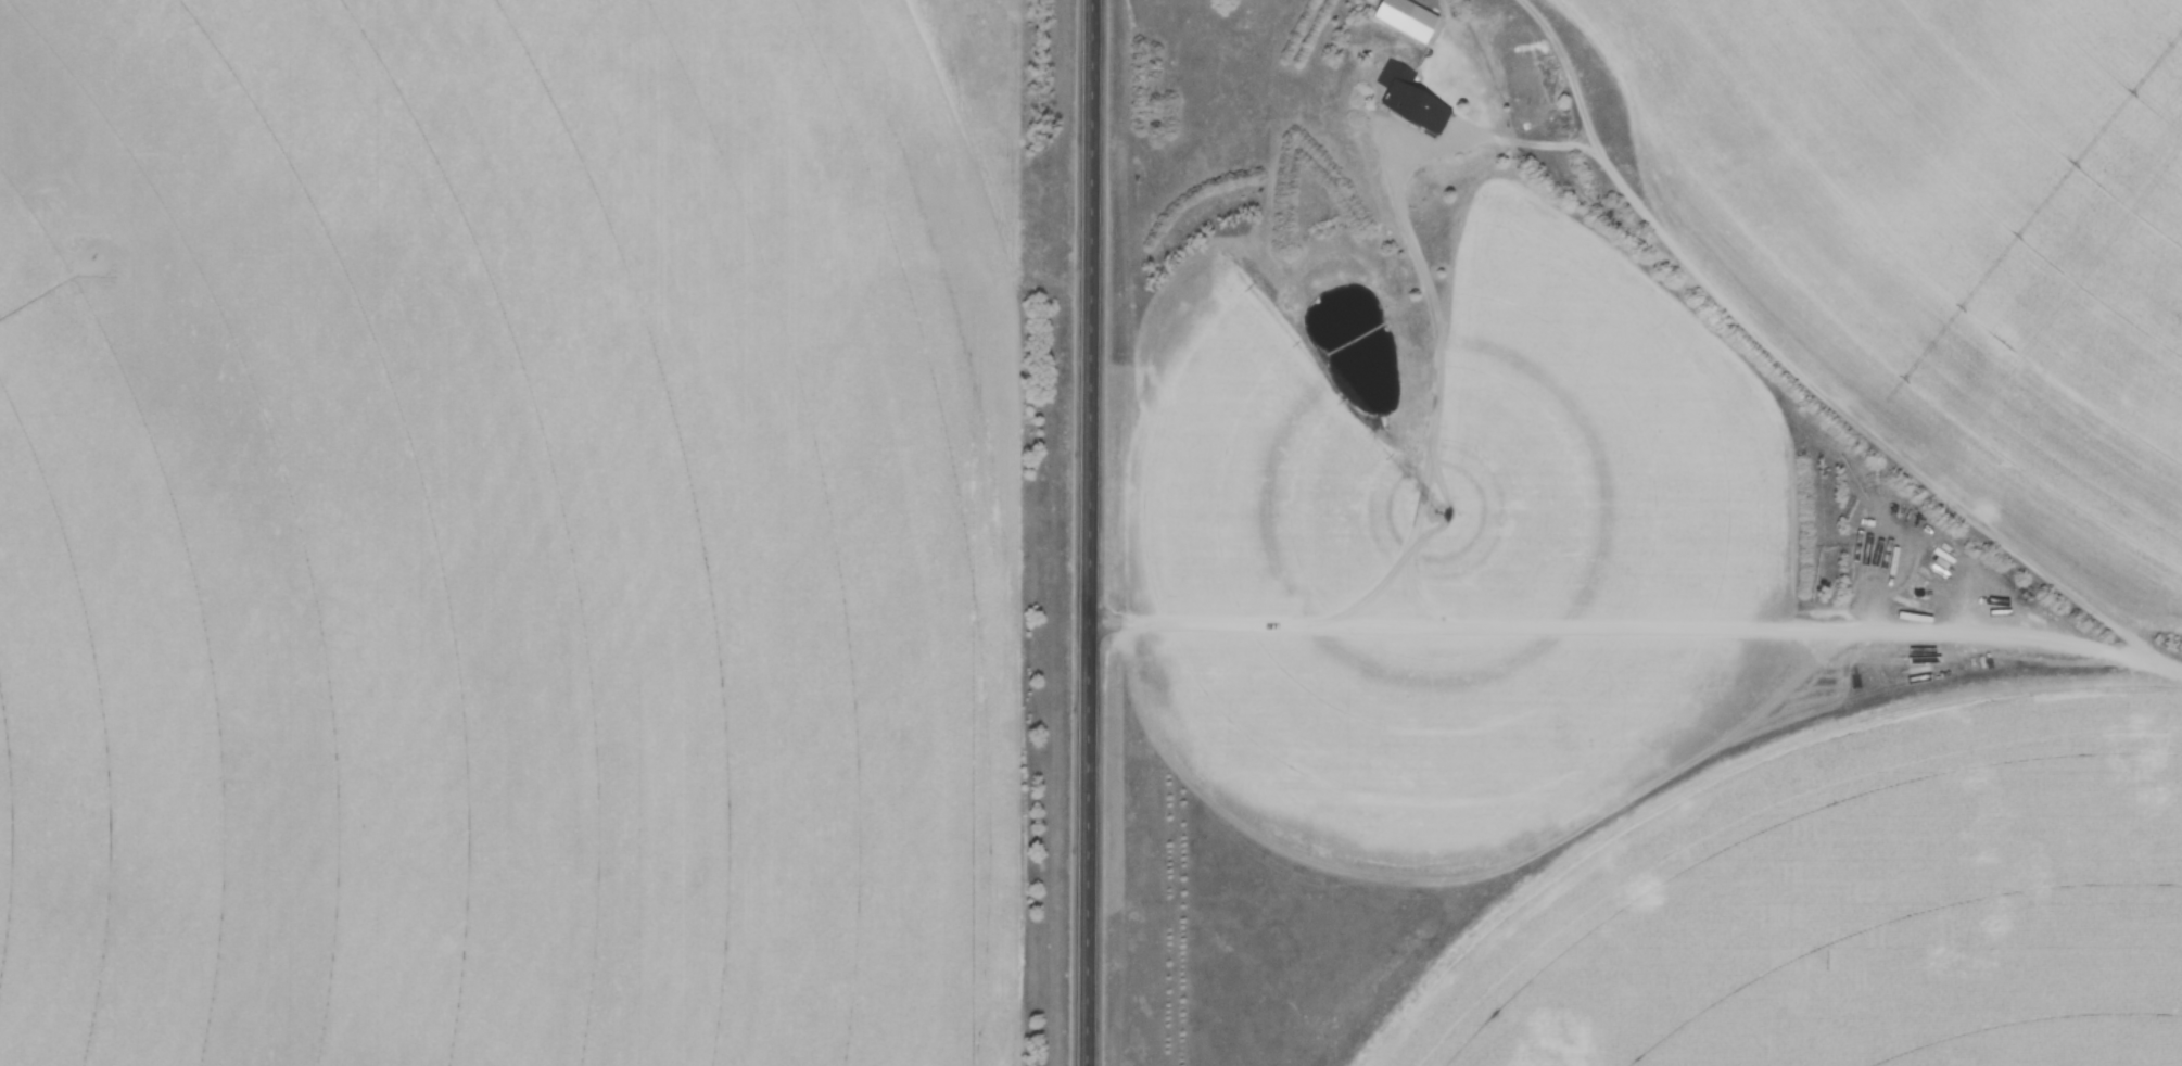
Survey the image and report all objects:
building: (1407, 20)
building: (1408, 99)
road: (1616, 175)
road: (1090, 532)
road: (1371, 595)
road: (1637, 630)

